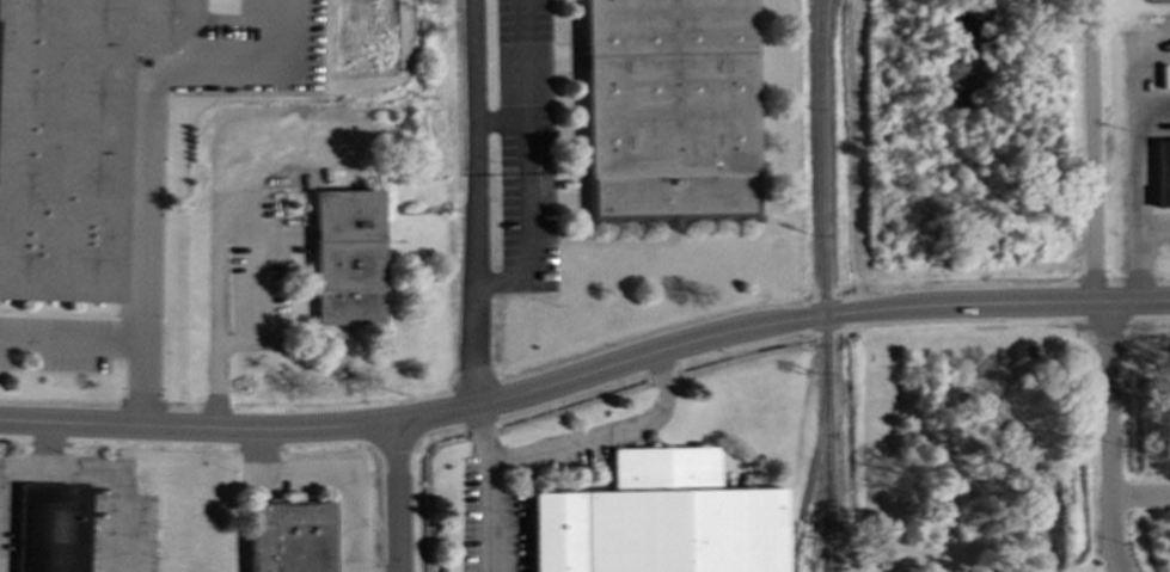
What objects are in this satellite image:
power substation: (1157, 1)
building: (668, 110)
road: (497, 119)
building: (71, 137)
road: (1094, 152)
road: (522, 161)
road: (1139, 166)
building: (1162, 171)
road: (147, 186)
road: (472, 204)
road: (216, 215)
road: (1154, 226)
building: (347, 257)
railway: (823, 285)
road: (586, 379)
road: (139, 385)
road: (599, 433)
road: (1108, 438)
road: (48, 447)
railway: (813, 460)
road: (109, 469)
road: (331, 475)
road: (483, 490)
road: (399, 497)
building: (658, 519)
building: (51, 528)
building: (289, 536)

